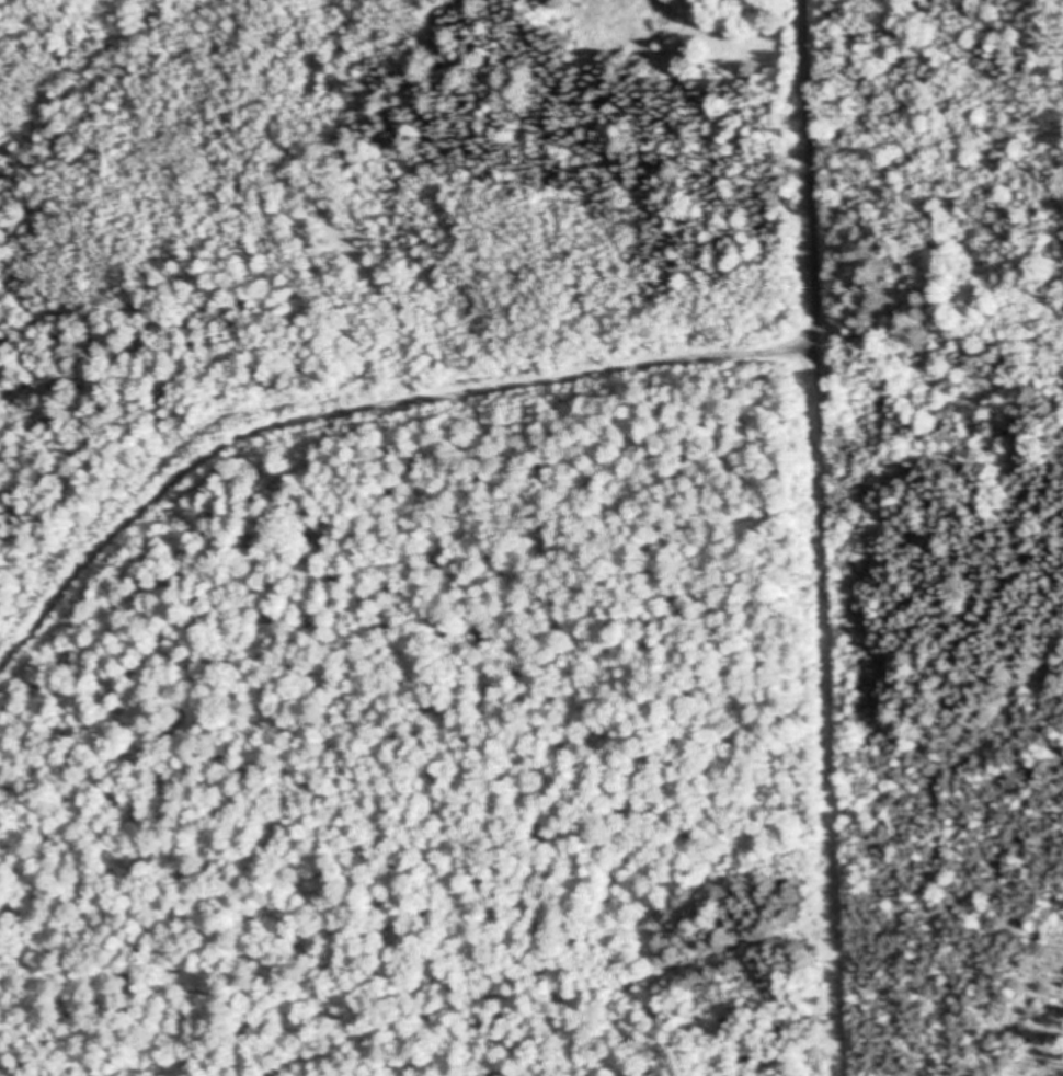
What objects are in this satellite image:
road: (820, 538)

